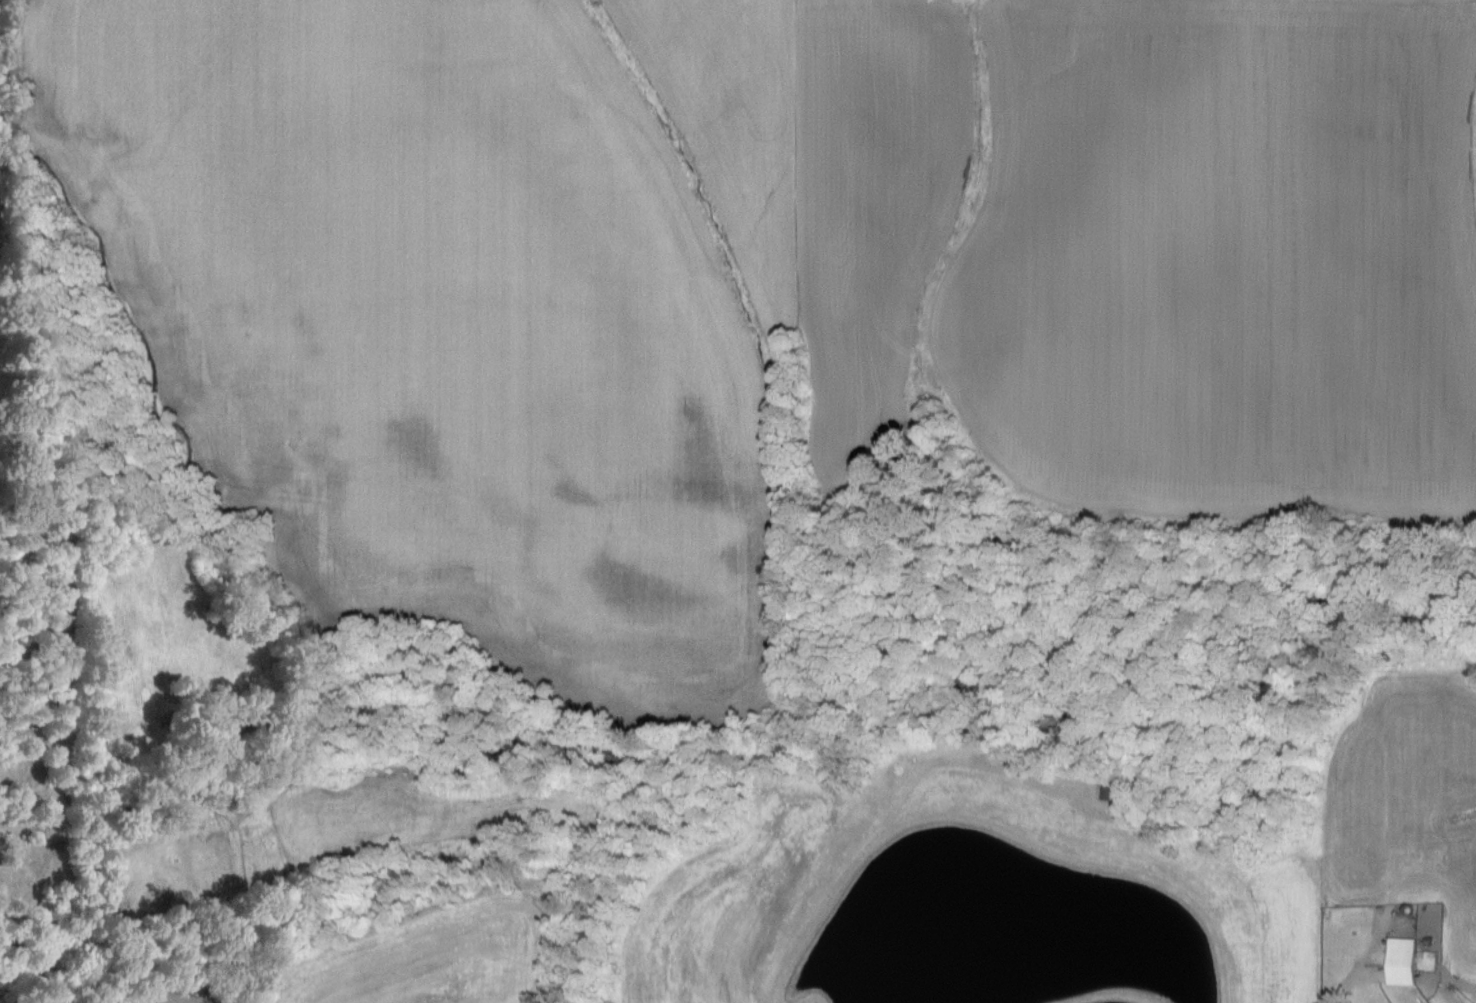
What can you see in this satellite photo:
building: (1107, 789)
building: (1405, 961)
road: (1345, 985)
building: (177, 998)

